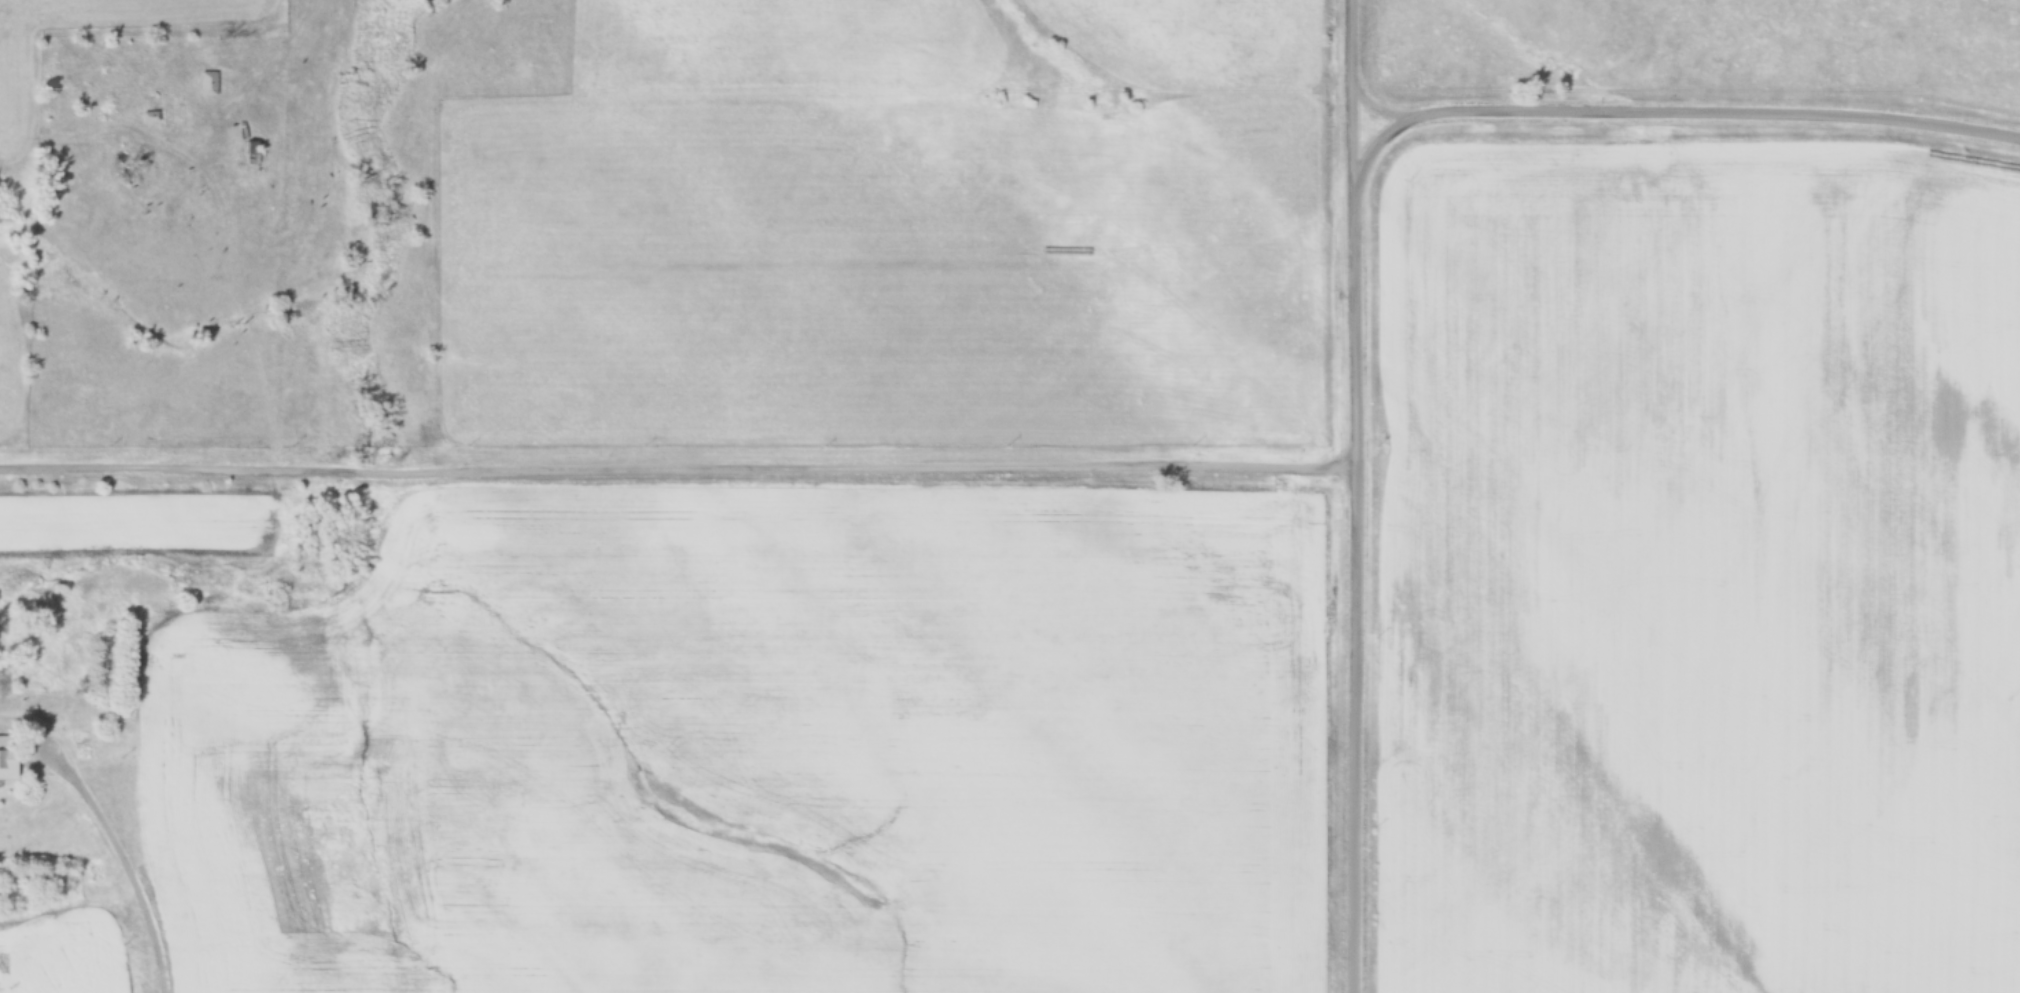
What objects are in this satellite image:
building: (207, 82)
road: (1349, 93)
road: (1381, 107)
building: (168, 115)
building: (246, 151)
road: (1354, 237)
road: (679, 464)
building: (9, 757)
road: (159, 966)

